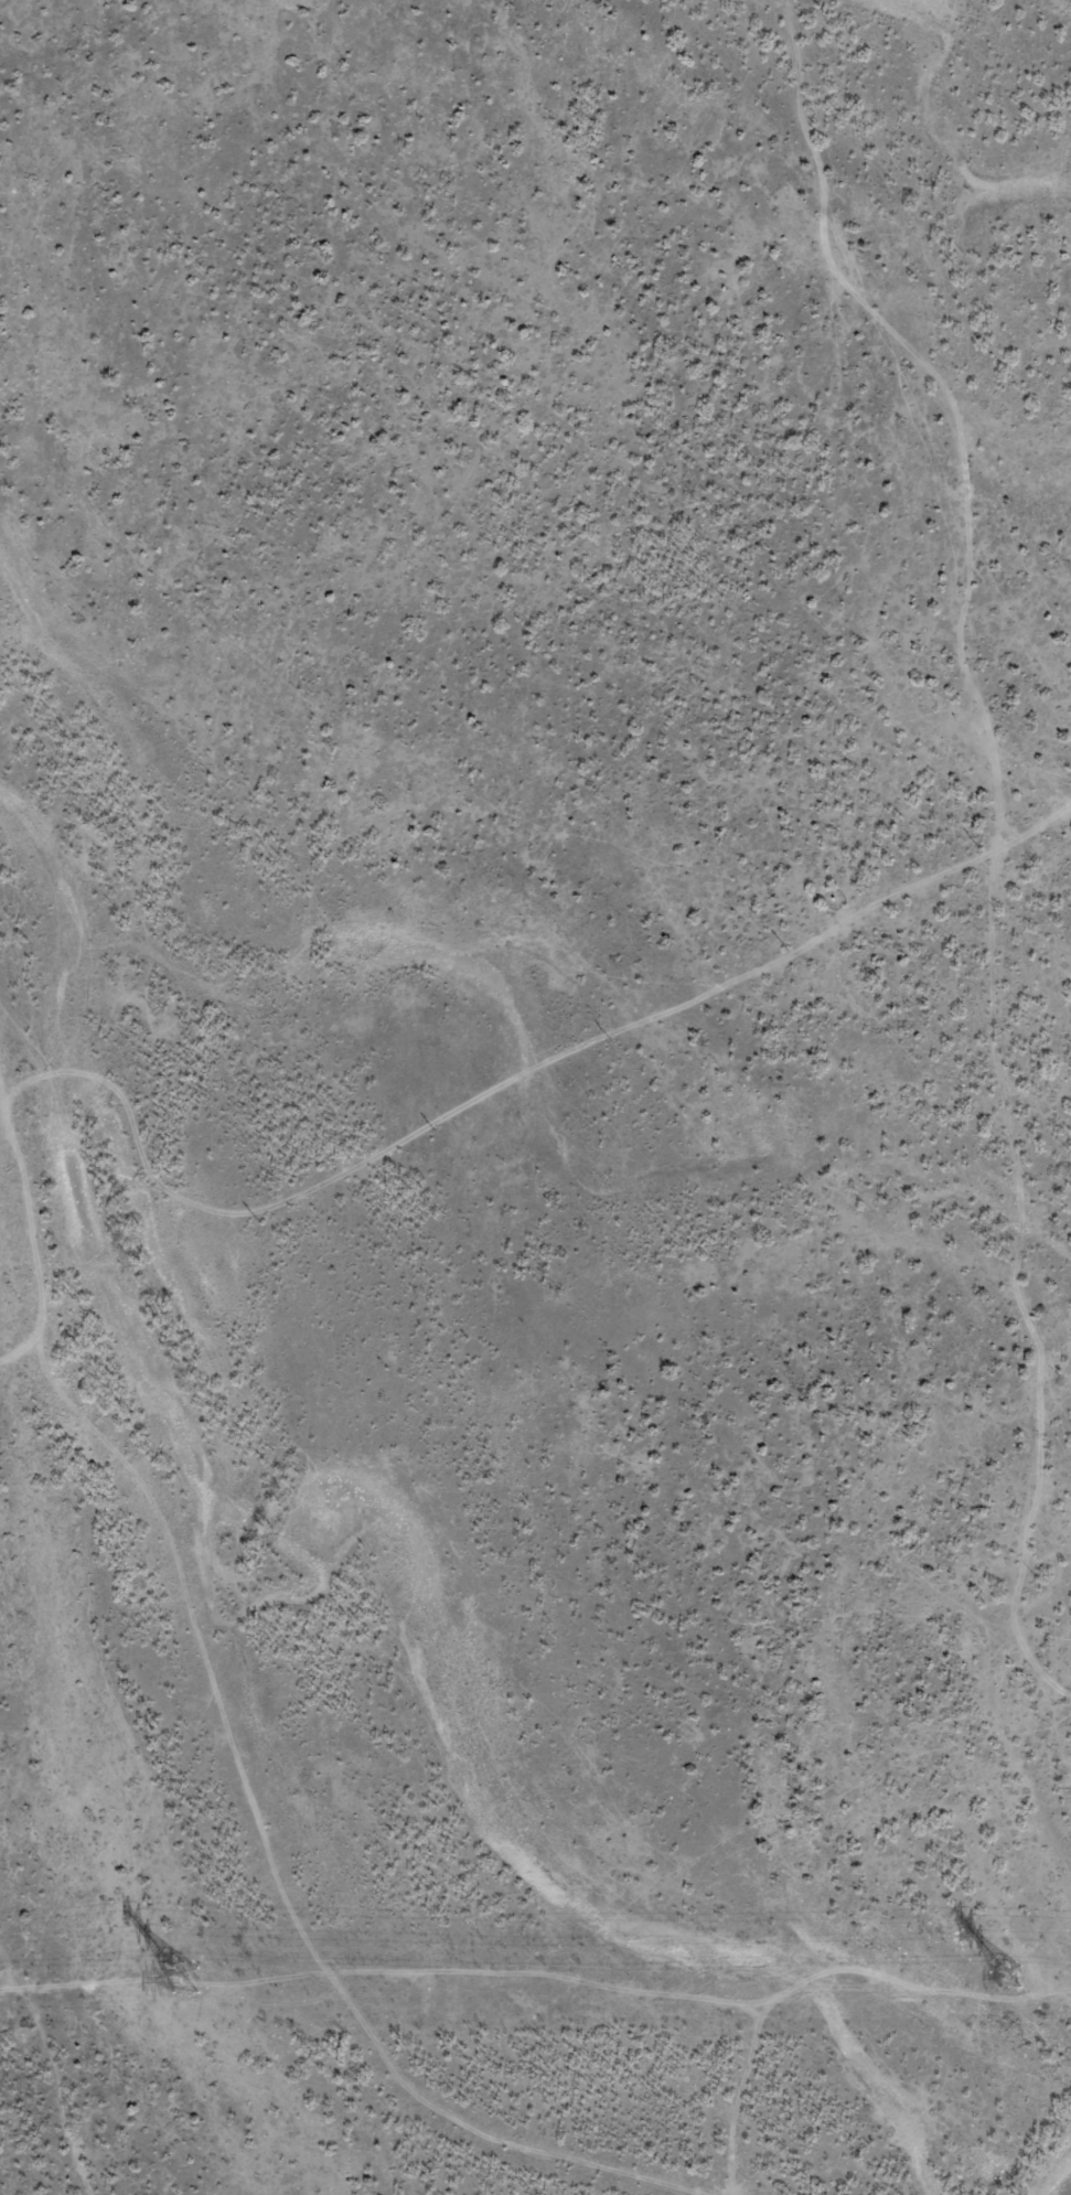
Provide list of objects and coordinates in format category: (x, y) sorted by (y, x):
power tower: (1010, 1975)
power tower: (184, 1978)
road: (32, 2133)

